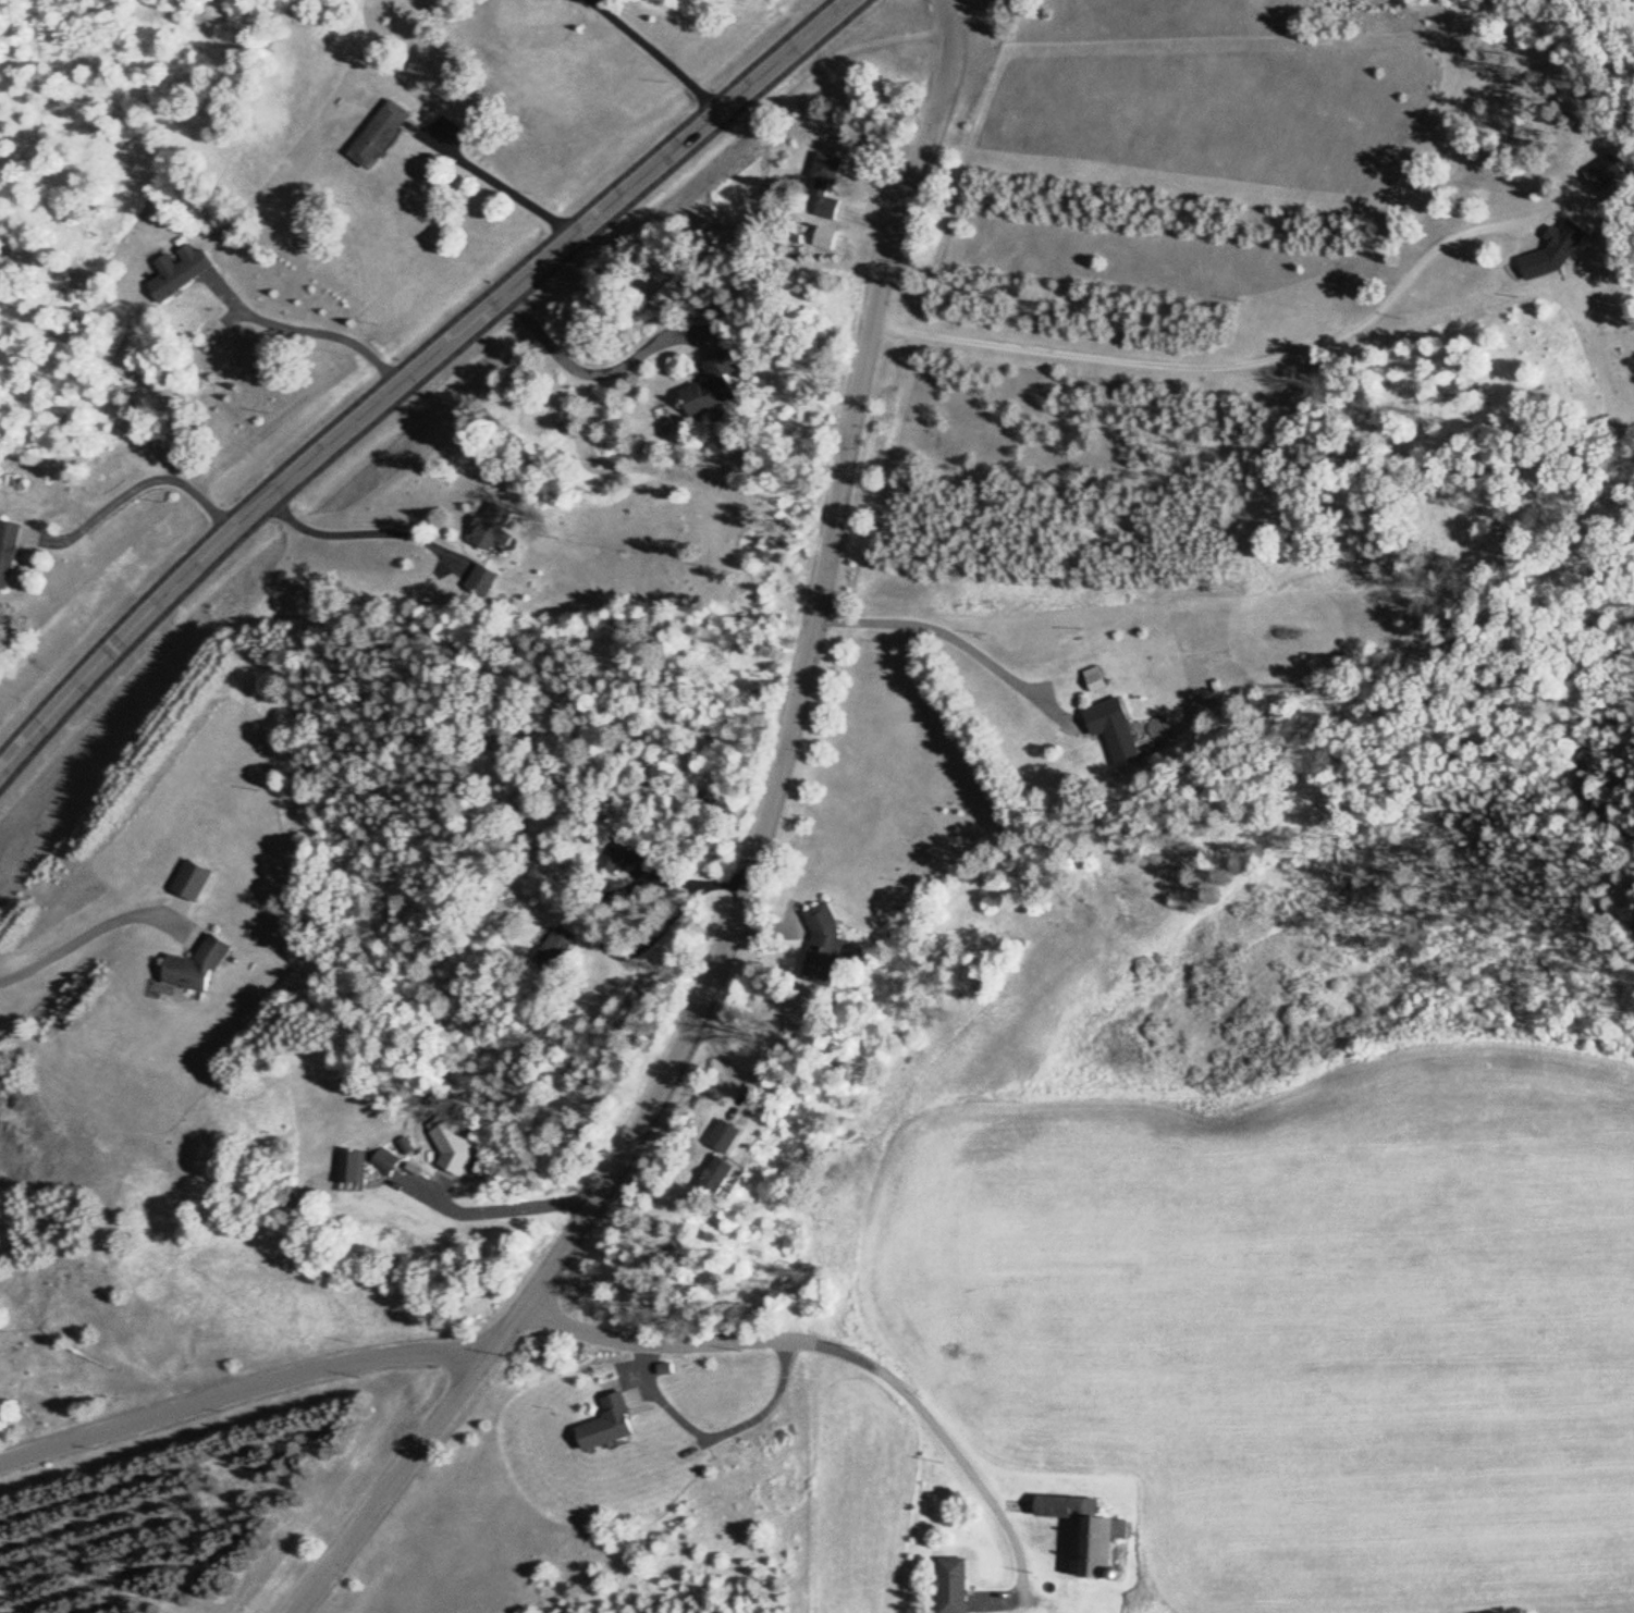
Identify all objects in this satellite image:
building: (377, 137)
building: (1607, 174)
building: (825, 187)
building: (1558, 253)
building: (177, 271)
road: (413, 372)
building: (713, 390)
building: (494, 531)
building: (7, 551)
building: (484, 582)
building: (1097, 684)
building: (1118, 732)
building: (612, 858)
road: (759, 862)
building: (195, 882)
building: (556, 951)
building: (825, 952)
building: (199, 969)
building: (728, 1137)
building: (463, 1161)
building: (388, 1165)
building: (356, 1171)
building: (721, 1177)
road: (838, 1353)
road: (238, 1394)
building: (609, 1425)
building: (1086, 1532)
building: (951, 1586)

